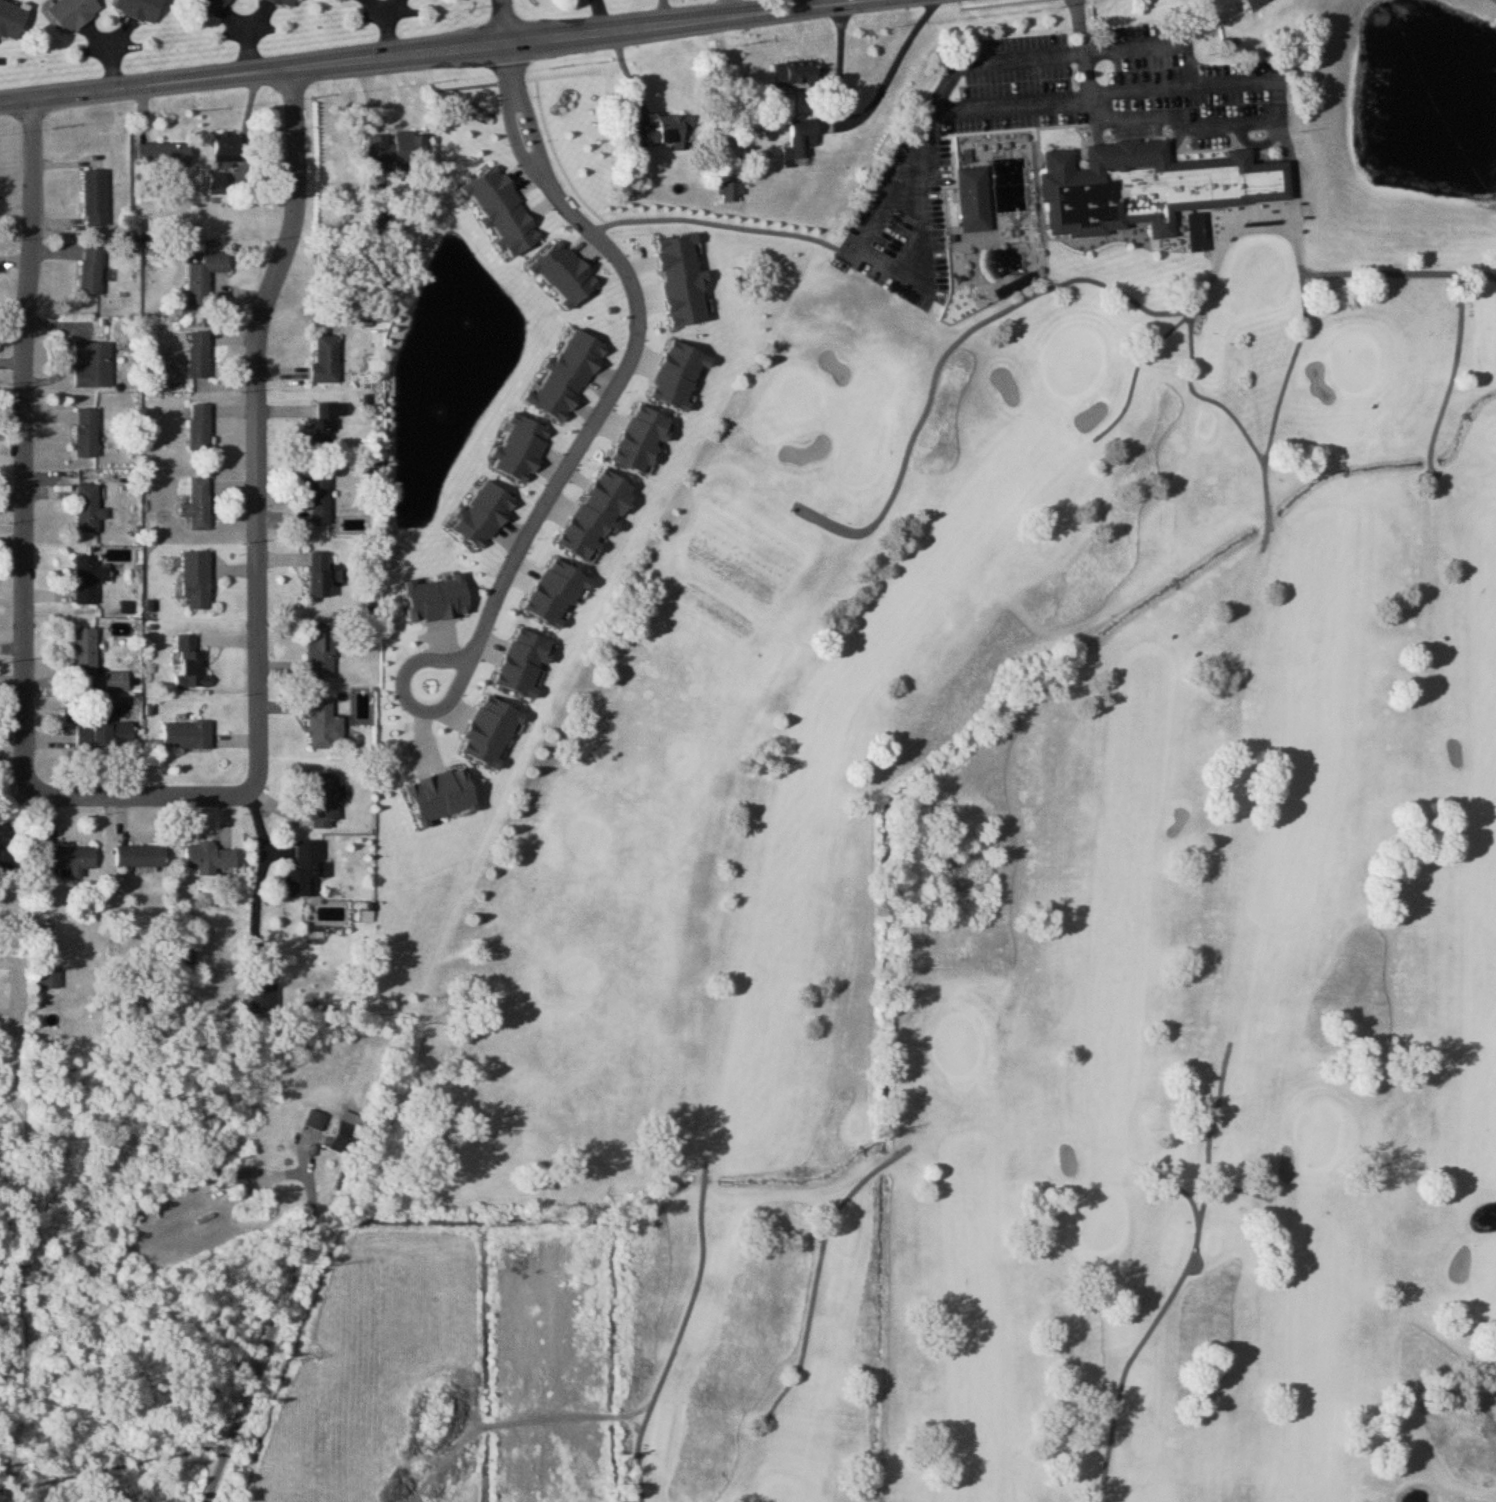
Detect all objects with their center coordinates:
building: (342, 1)
building: (286, 3)
building: (1256, 3)
building: (208, 6)
road: (732, 8)
building: (141, 9)
building: (73, 13)
building: (12, 20)
road: (502, 20)
road: (1078, 23)
road: (1163, 37)
road: (437, 49)
road: (839, 63)
road: (893, 68)
building: (795, 72)
road: (1278, 85)
road: (1095, 92)
road: (1017, 97)
road: (1145, 115)
road: (1262, 119)
parking lot: (1058, 122)
building: (667, 131)
building: (801, 141)
building: (229, 147)
building: (402, 148)
building: (164, 154)
building: (1150, 180)
building: (218, 184)
road: (890, 184)
building: (731, 192)
building: (972, 192)
building: (95, 198)
park: (1261, 252)
building: (92, 271)
building: (205, 276)
building: (1014, 278)
building: (199, 355)
building: (328, 358)
park: (1355, 362)
building: (92, 365)
road: (622, 367)
park: (835, 409)
road: (1469, 417)
building: (324, 424)
road: (255, 425)
building: (200, 426)
building: (87, 433)
road: (23, 442)
road: (1347, 472)
building: (319, 500)
building: (198, 505)
building: (89, 509)
building: (319, 574)
building: (88, 579)
building: (197, 579)
road: (1177, 582)
building: (322, 650)
building: (86, 652)
building: (191, 664)
building: (325, 724)
building: (188, 735)
building: (104, 736)
road: (140, 797)
building: (326, 801)
building: (141, 857)
building: (209, 859)
building: (70, 860)
building: (306, 872)
road: (262, 878)
park: (999, 880)
building: (188, 957)
building: (51, 979)
building: (260, 996)
building: (316, 1120)
park: (1325, 1136)
building: (345, 1138)
road: (866, 1152)
park: (1107, 1223)
road: (268, 1325)

